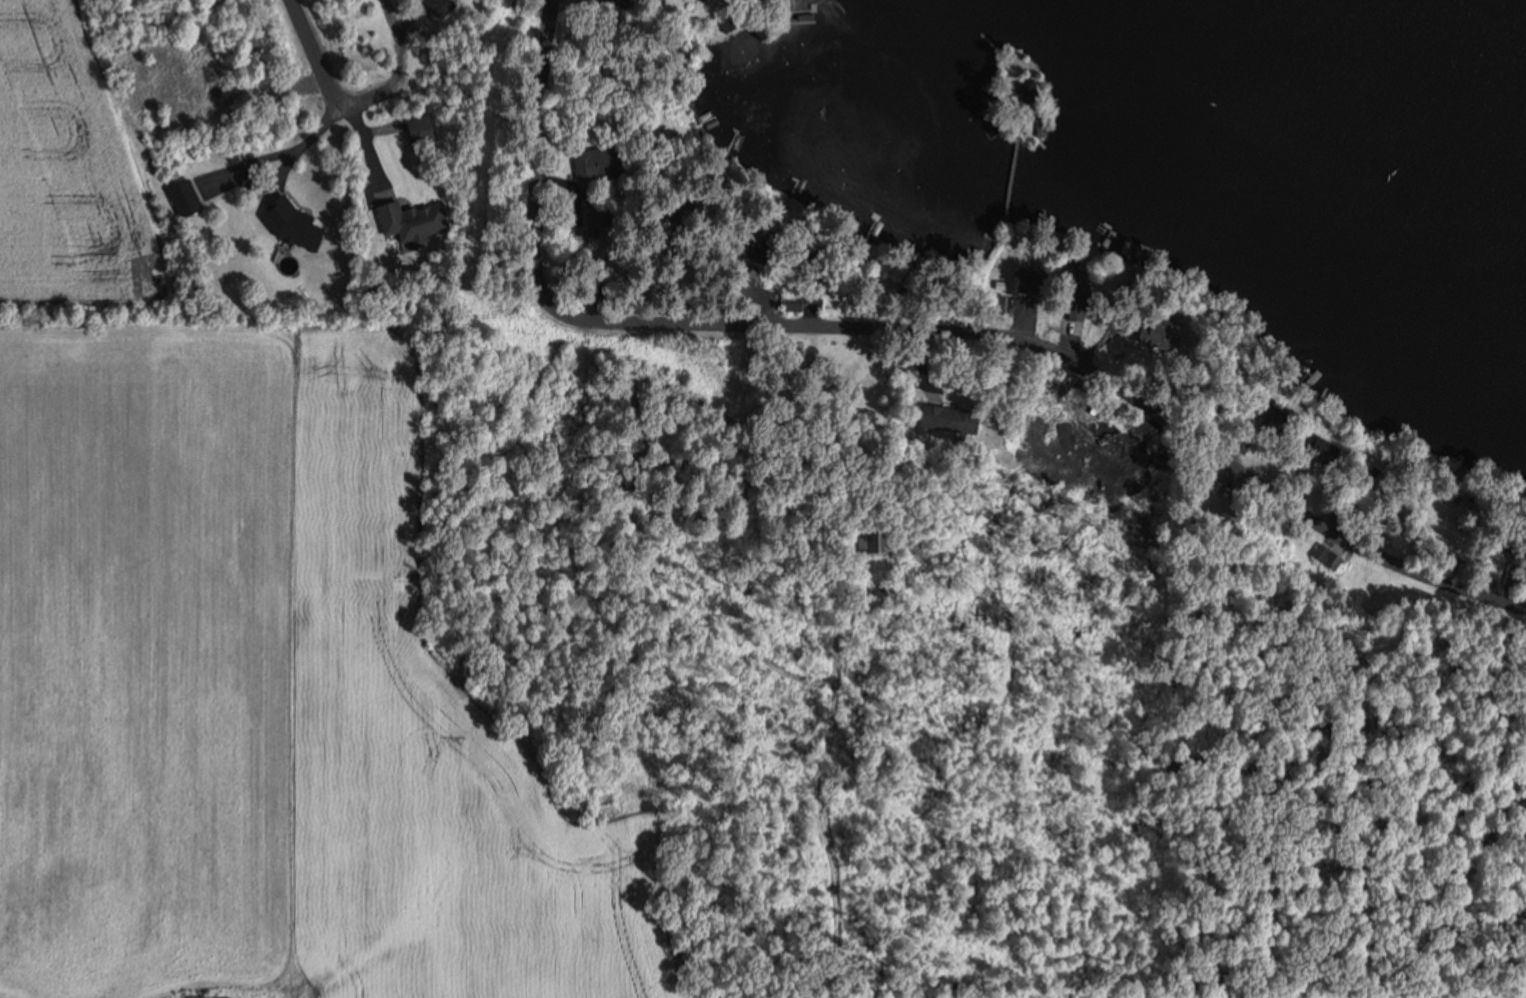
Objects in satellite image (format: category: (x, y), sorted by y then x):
building: (439, 6)
road: (315, 52)
building: (416, 129)
building: (589, 162)
building: (188, 199)
building: (406, 220)
building: (287, 222)
building: (737, 289)
building: (997, 303)
road: (927, 330)
building: (951, 418)
building: (1325, 556)
crop: (250, 642)
building: (206, 996)

